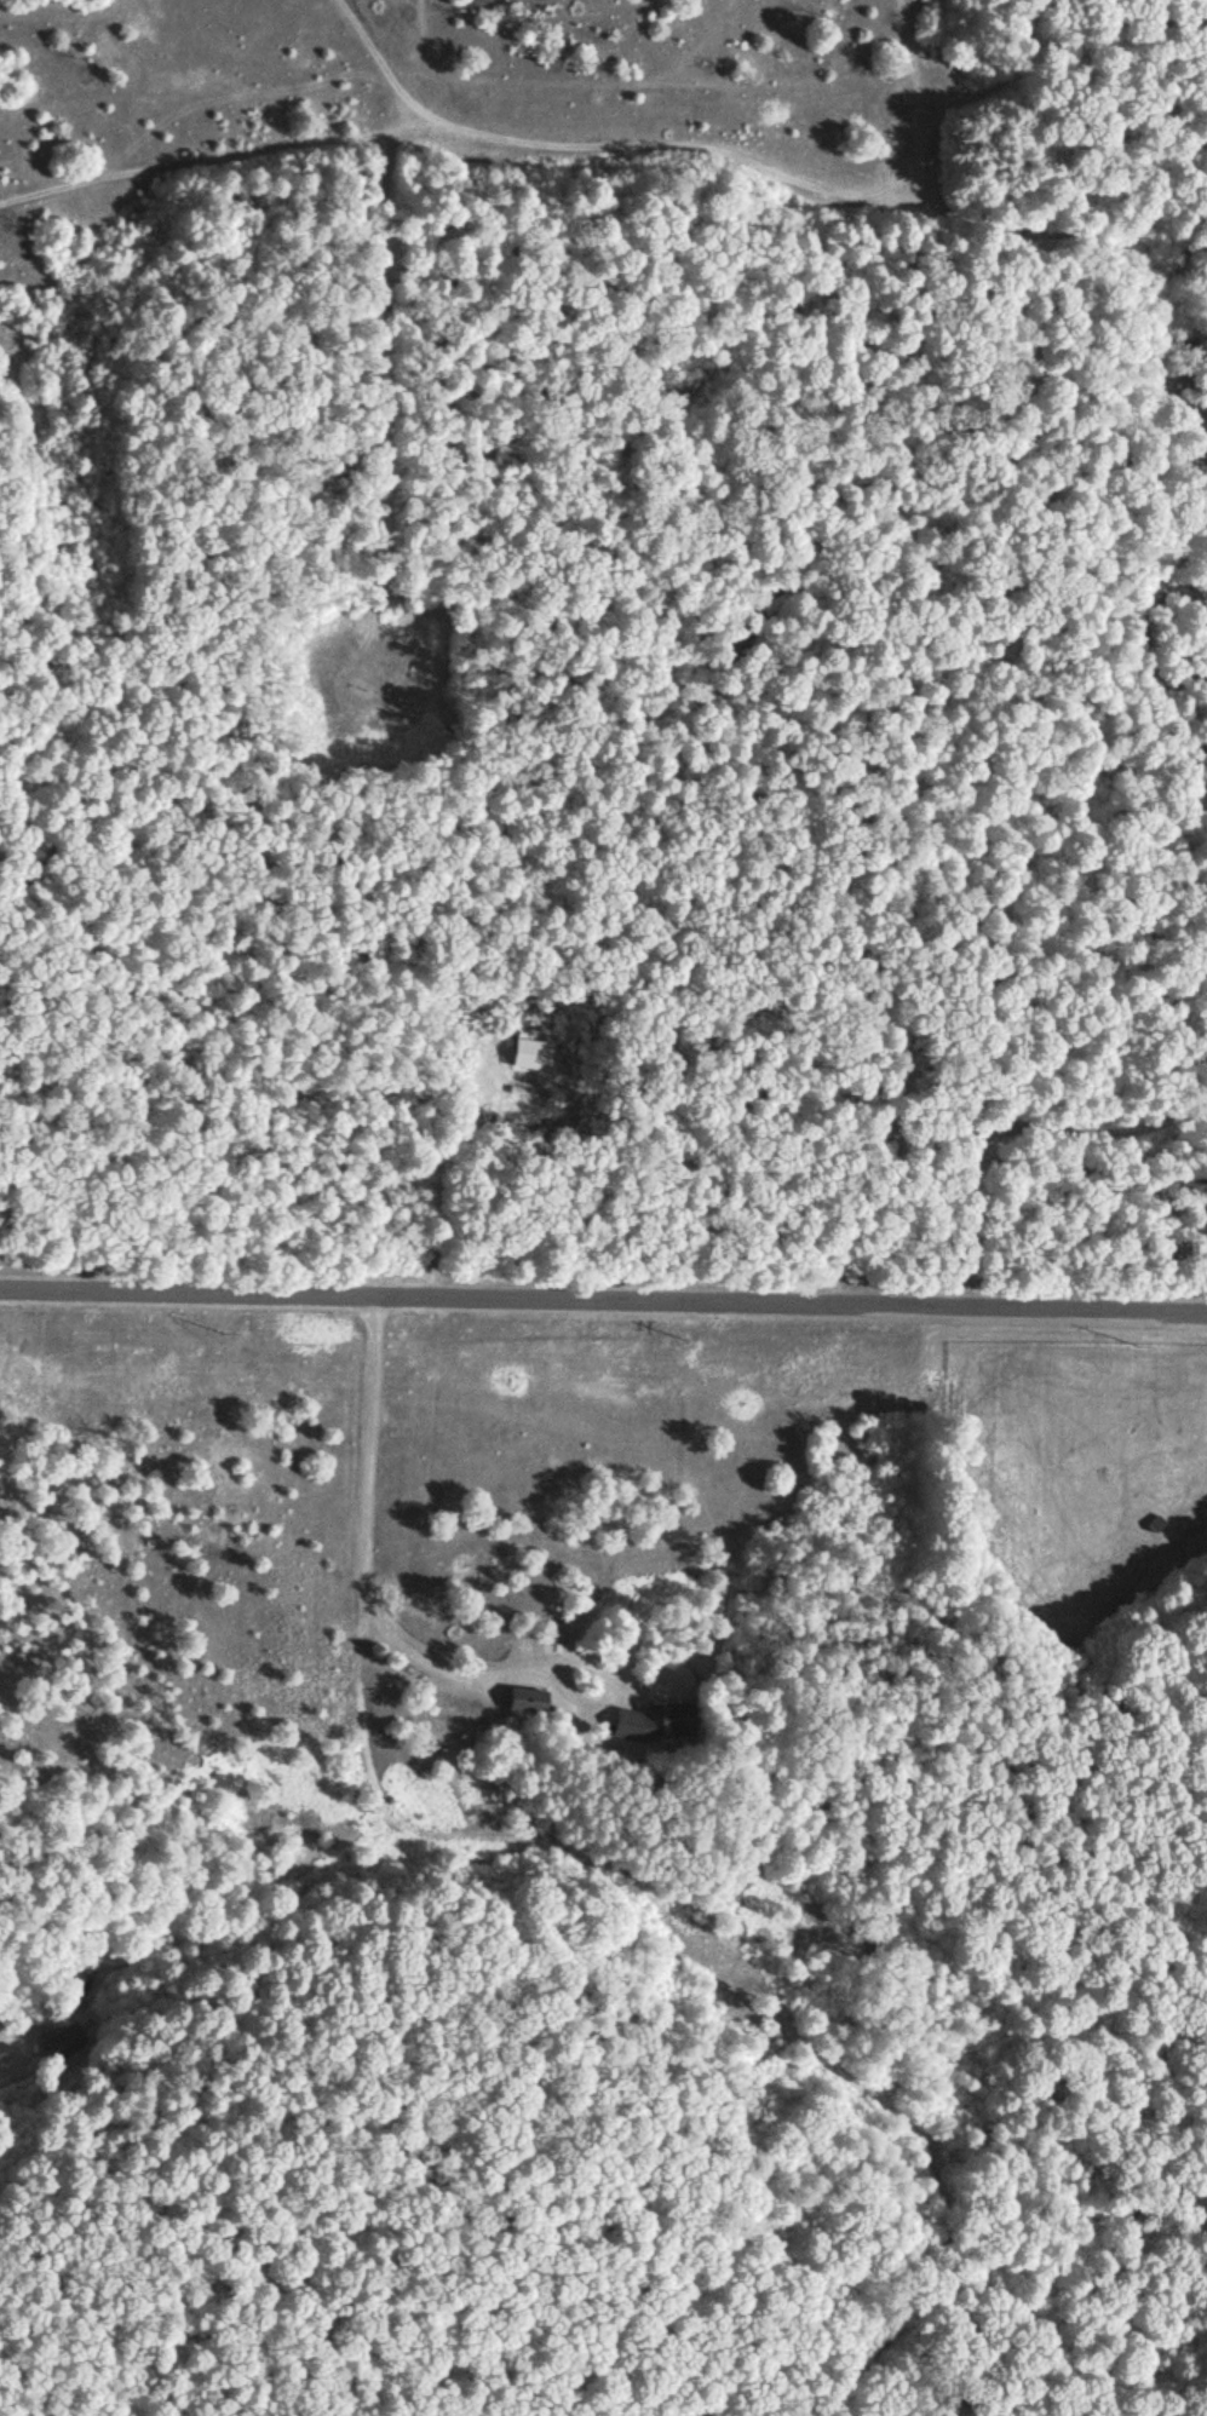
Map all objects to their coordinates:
road: (946, 90)
building: (531, 1053)
road: (1093, 1117)
road: (603, 1296)
road: (374, 1449)
road: (447, 1666)
road: (1190, 1668)
building: (521, 1698)
building: (667, 1719)
road: (712, 1942)
building: (80, 1977)

